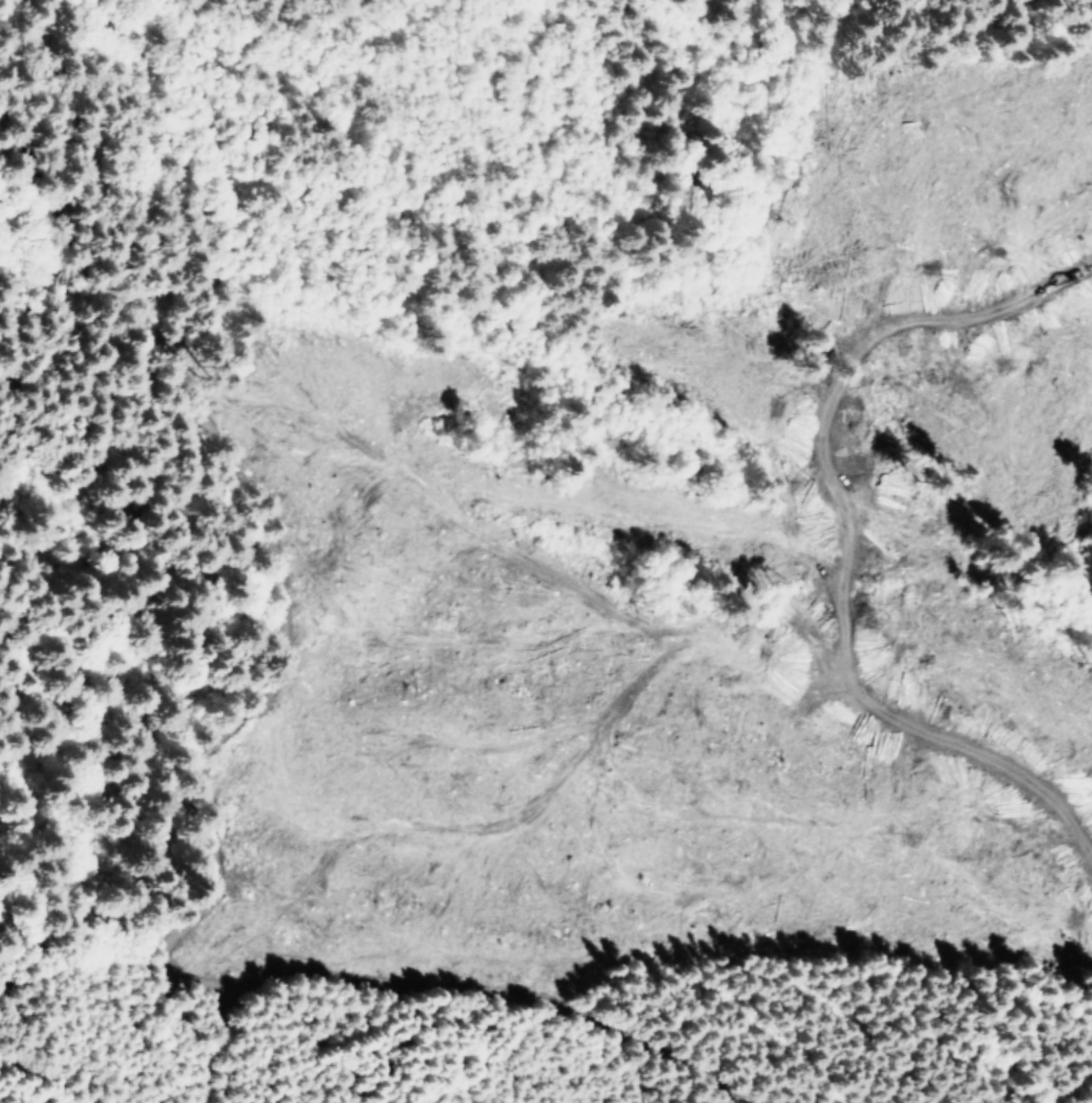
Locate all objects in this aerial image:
road: (257, 539)
road: (484, 960)

